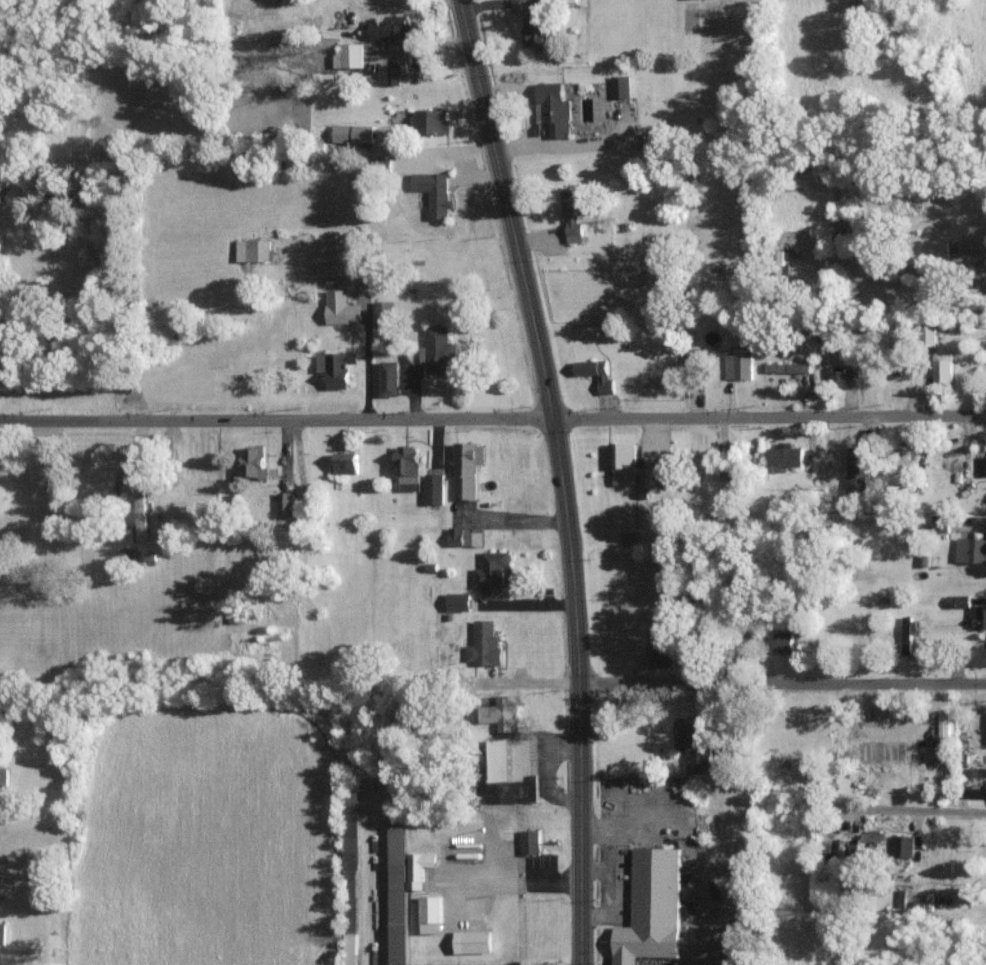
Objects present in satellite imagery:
building: (559, 1)
building: (391, 28)
building: (535, 31)
building: (348, 56)
building: (388, 75)
building: (620, 86)
building: (553, 109)
building: (430, 121)
building: (352, 133)
building: (433, 192)
building: (573, 212)
building: (253, 250)
building: (970, 250)
road: (912, 268)
building: (342, 309)
building: (384, 314)
building: (928, 337)
building: (440, 350)
building: (738, 366)
building: (787, 367)
building: (942, 367)
building: (337, 369)
building: (596, 374)
building: (838, 377)
building: (390, 379)
road: (281, 423)
road: (774, 426)
building: (785, 455)
building: (346, 463)
building: (255, 464)
building: (982, 465)
building: (629, 467)
building: (409, 468)
building: (468, 469)
building: (857, 470)
road: (570, 477)
building: (435, 490)
building: (286, 504)
building: (140, 517)
building: (466, 538)
building: (971, 550)
building: (127, 553)
building: (432, 568)
building: (493, 576)
building: (957, 601)
building: (460, 602)
building: (977, 617)
building: (908, 634)
building: (782, 642)
building: (485, 643)
building: (662, 654)
building: (979, 655)
road: (788, 689)
building: (499, 713)
building: (942, 731)
building: (901, 739)
building: (872, 741)
building: (693, 748)
building: (505, 767)
building: (978, 771)
building: (3, 776)
building: (975, 792)
road: (905, 814)
building: (531, 842)
building: (903, 844)
building: (420, 869)
road: (613, 869)
building: (352, 878)
building: (399, 894)
building: (901, 897)
building: (652, 909)
building: (432, 915)
building: (2, 932)
building: (473, 942)
building: (470, 964)

